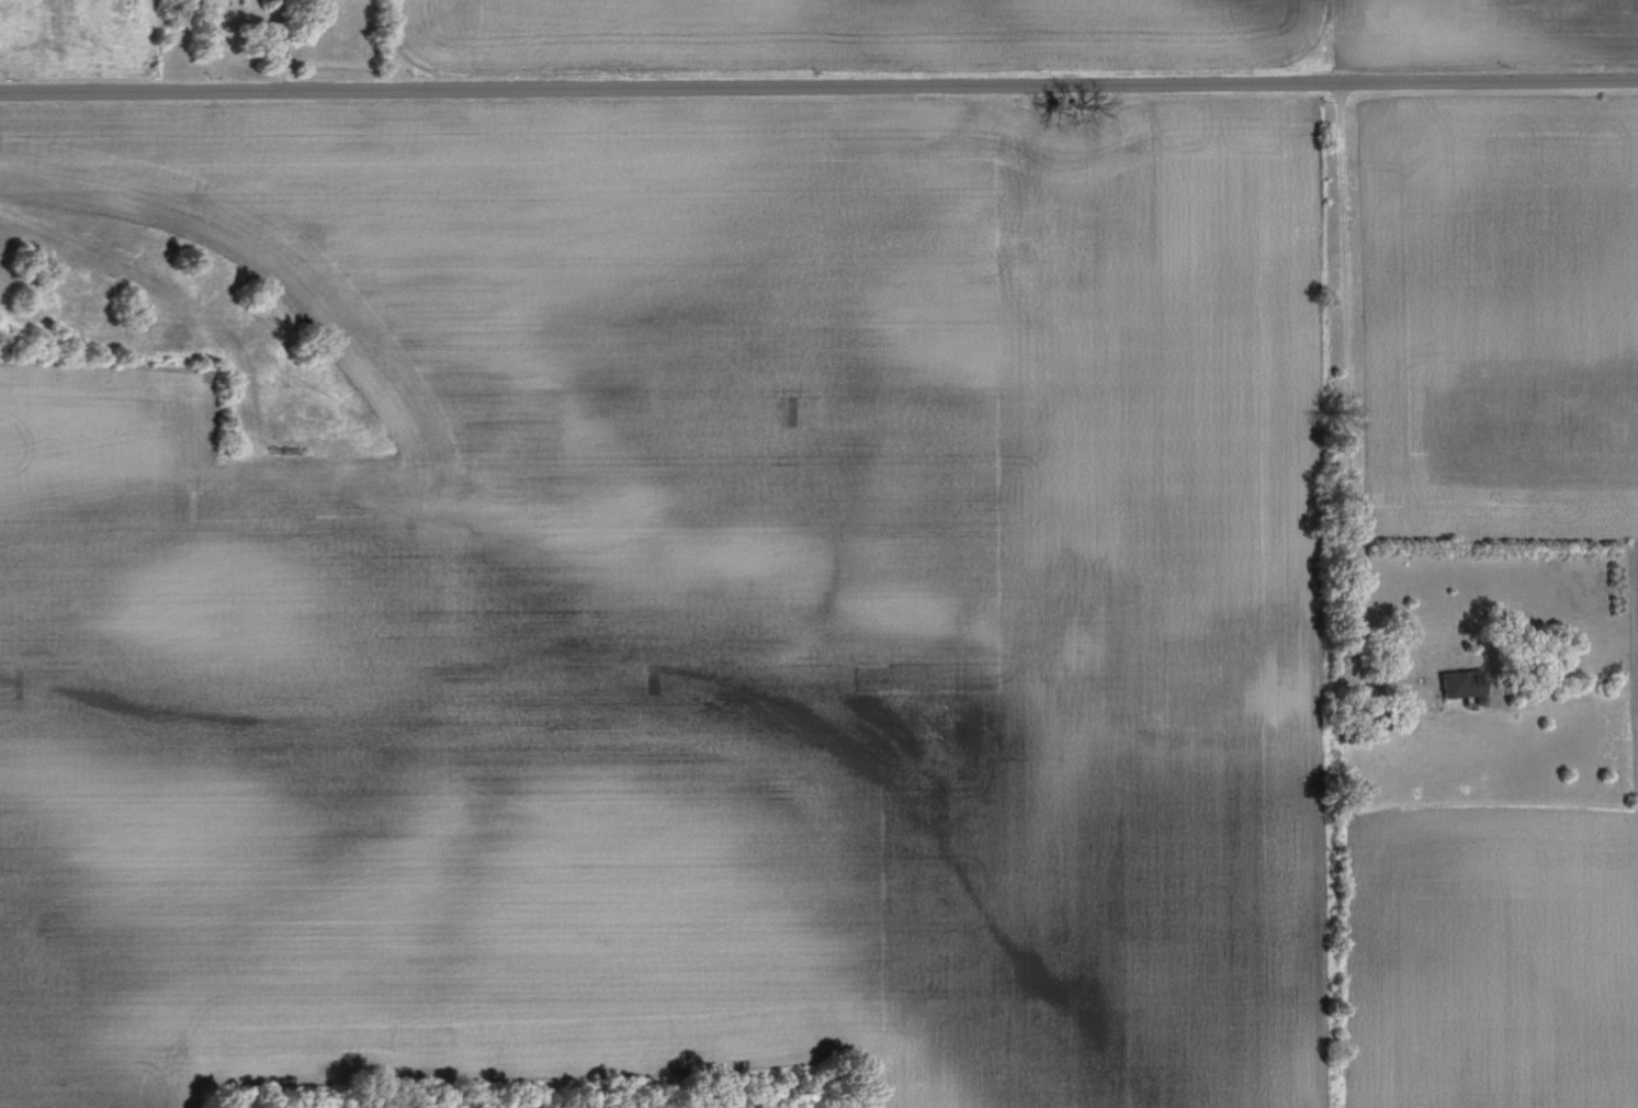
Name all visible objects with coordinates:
road: (273, 44)
road: (818, 83)
road: (1347, 402)
building: (1460, 681)

